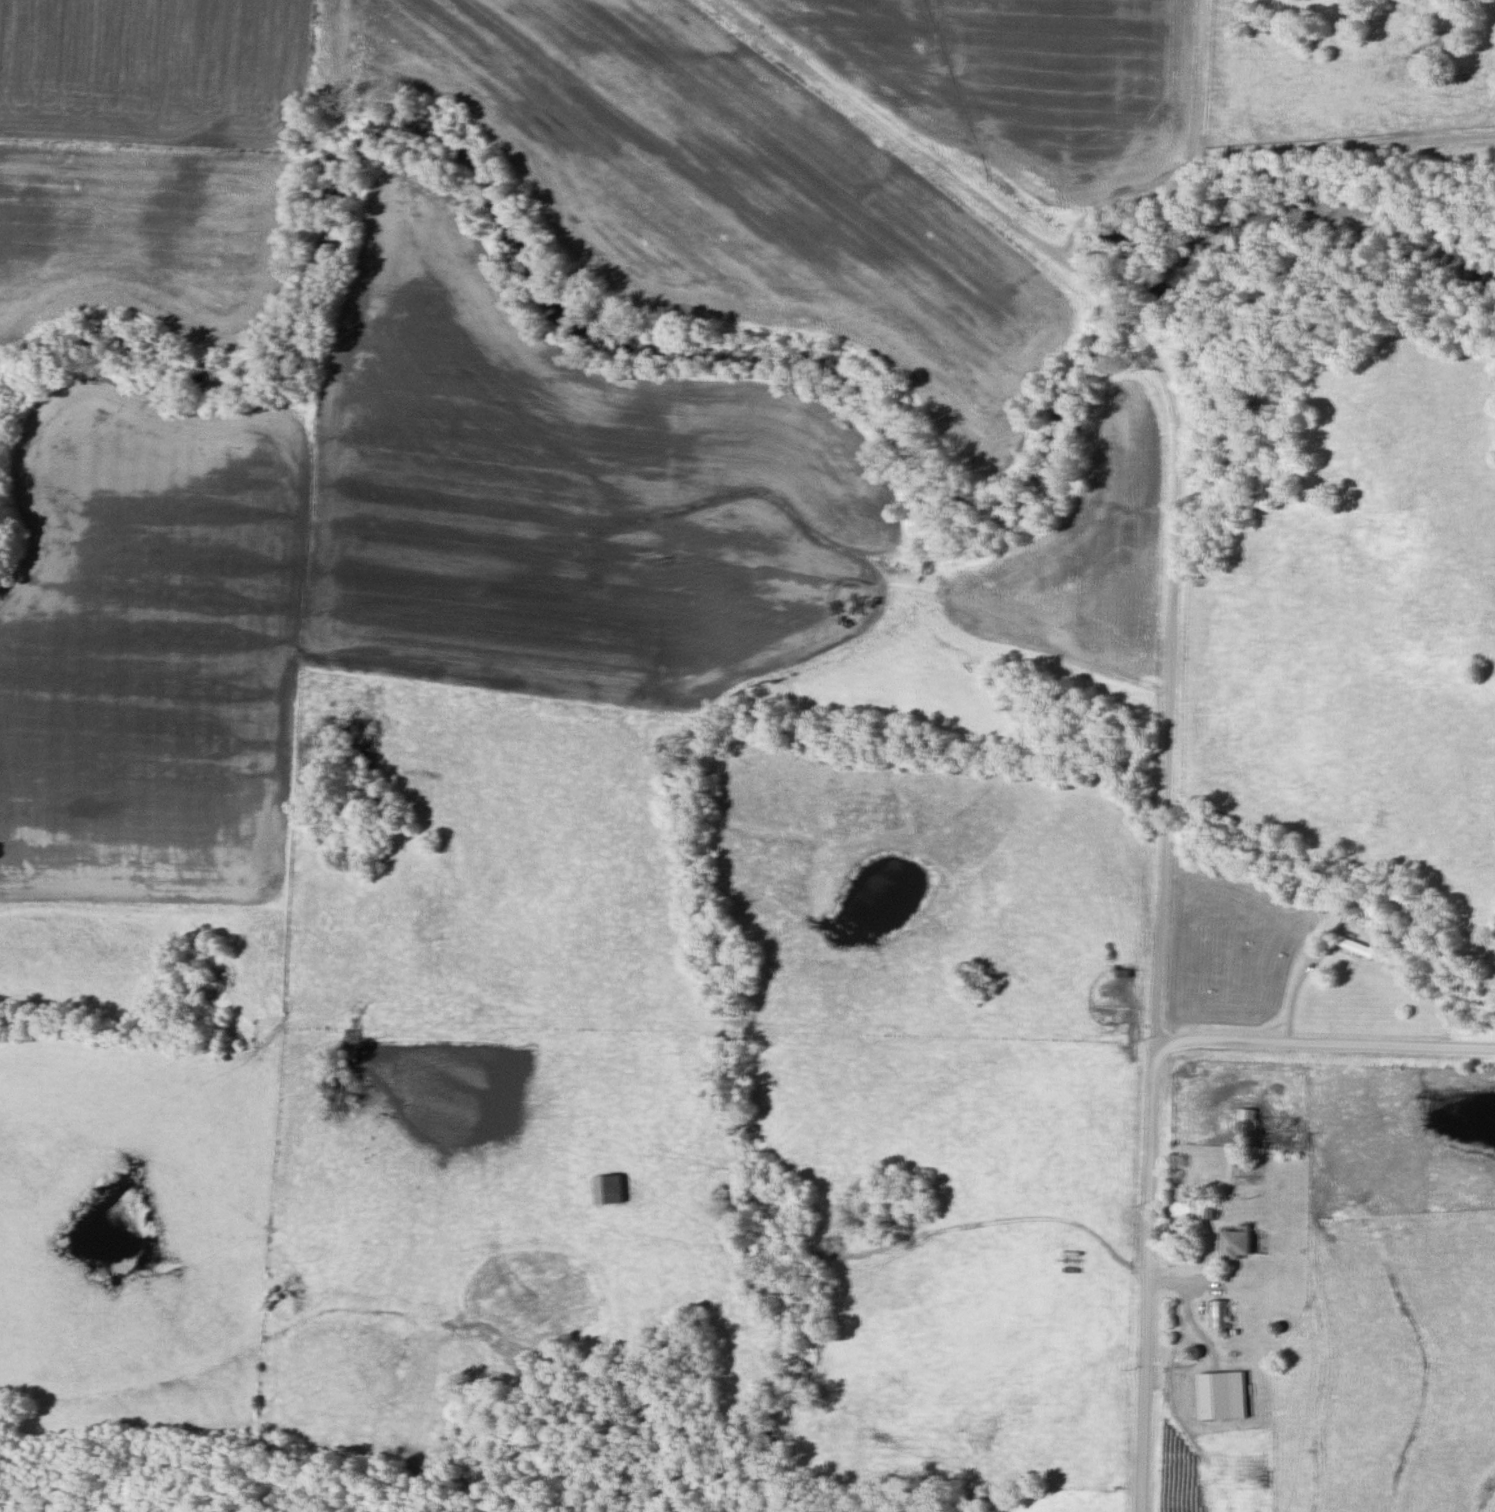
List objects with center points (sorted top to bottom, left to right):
crop: (161, 69)
crop: (1029, 77)
road: (1204, 85)
road: (1260, 150)
crop: (727, 184)
road: (971, 194)
crop: (143, 229)
building: (1305, 943)
building: (1354, 948)
road: (1157, 972)
road: (1404, 987)
road: (1323, 1046)
building: (1247, 1127)
building: (608, 1191)
building: (1236, 1246)
road: (899, 1248)
building: (1219, 1315)

